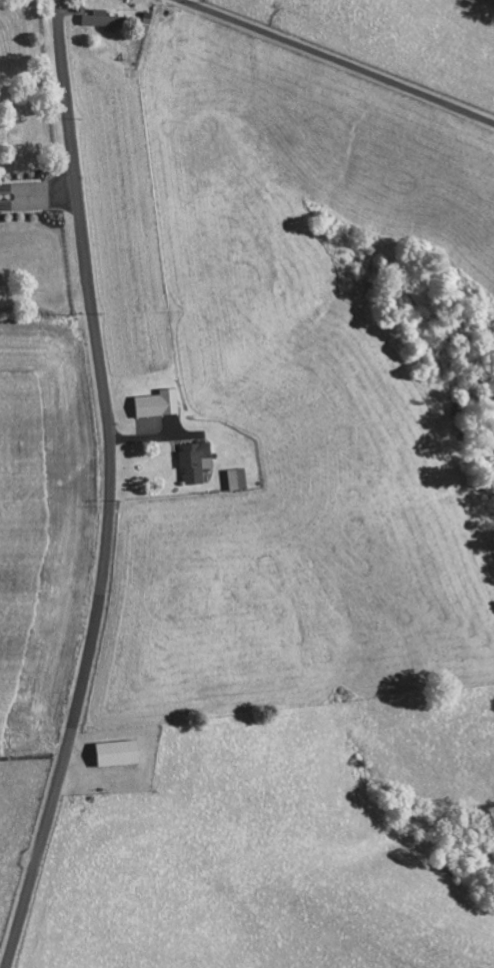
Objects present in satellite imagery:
building: (101, 21)
road: (334, 62)
road: (38, 186)
building: (155, 404)
building: (192, 461)
building: (235, 479)
road: (111, 488)
building: (114, 753)

